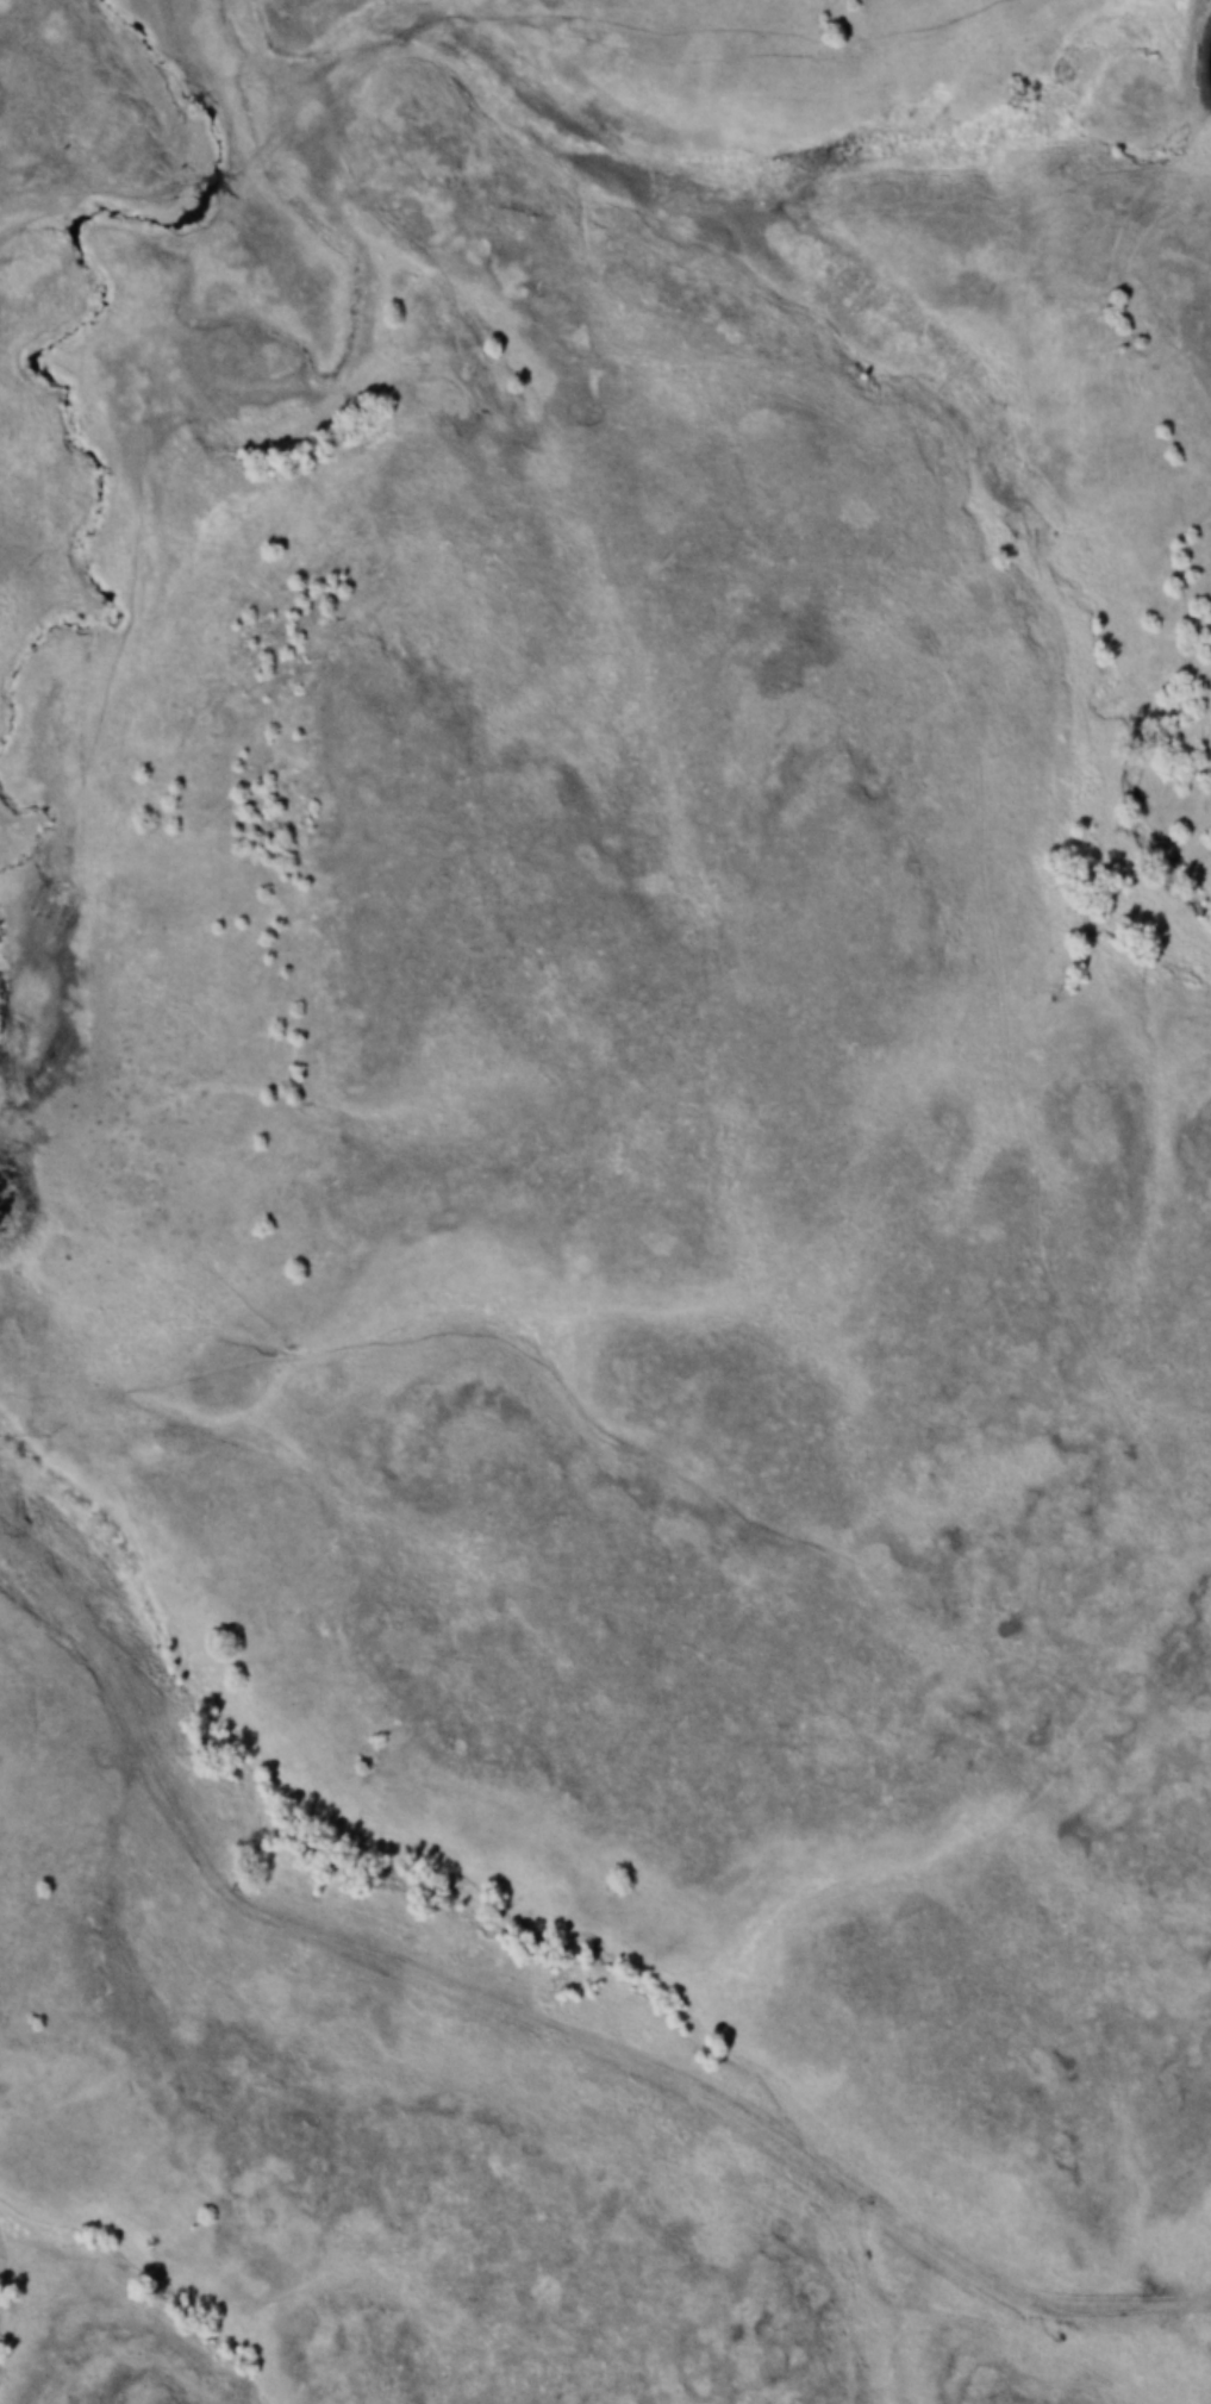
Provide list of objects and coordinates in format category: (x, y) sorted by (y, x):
dam: (1184, 43)
road: (550, 2017)

